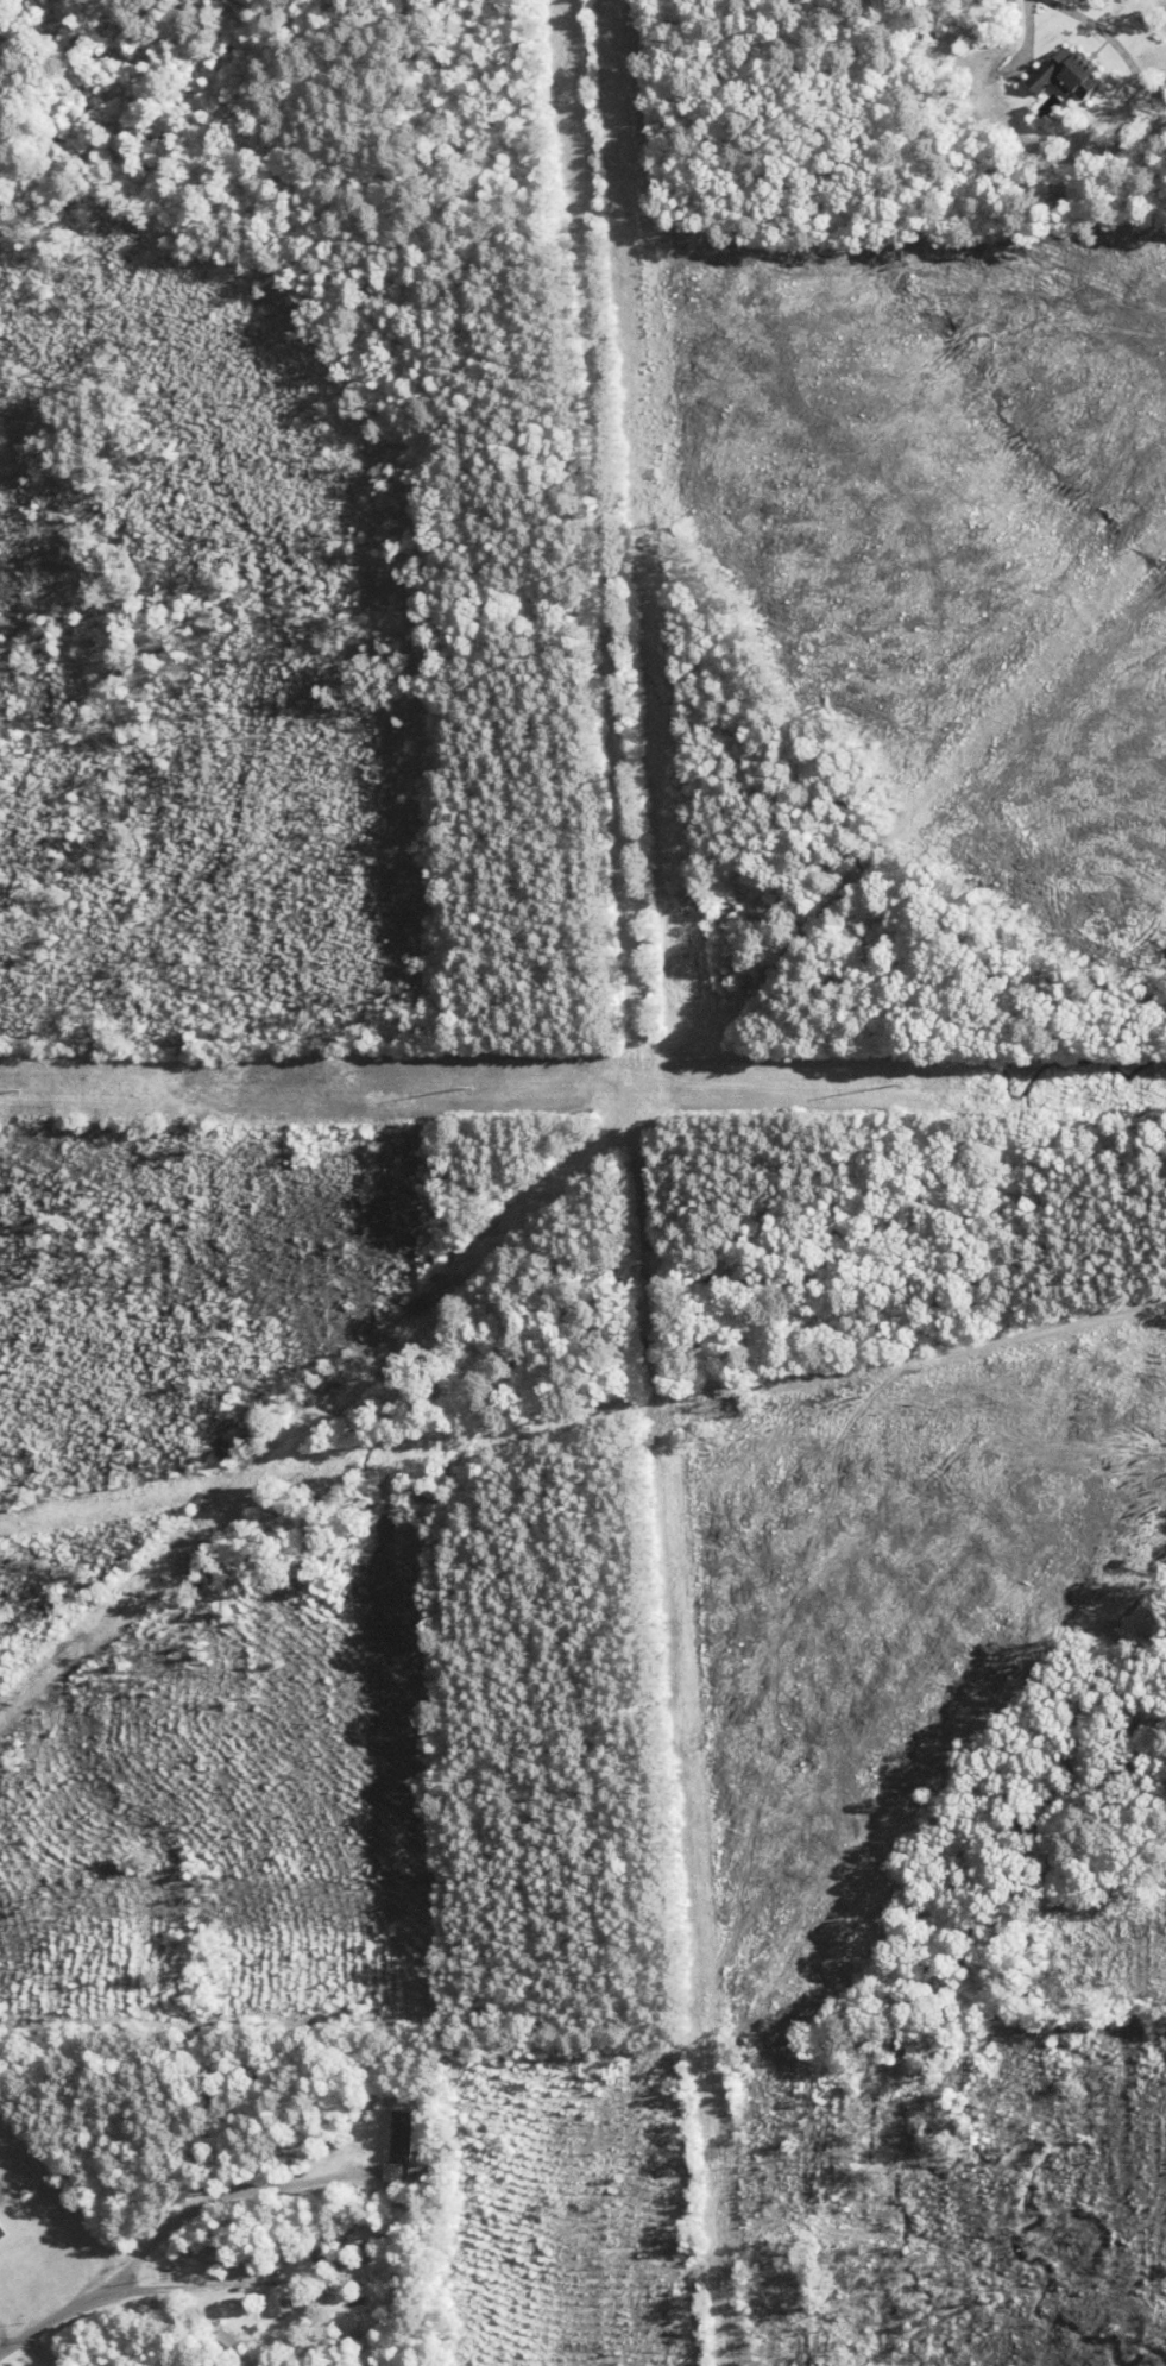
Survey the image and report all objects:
building: (1069, 74)
building: (2, 2230)
building: (282, 2298)
road: (58, 2317)

